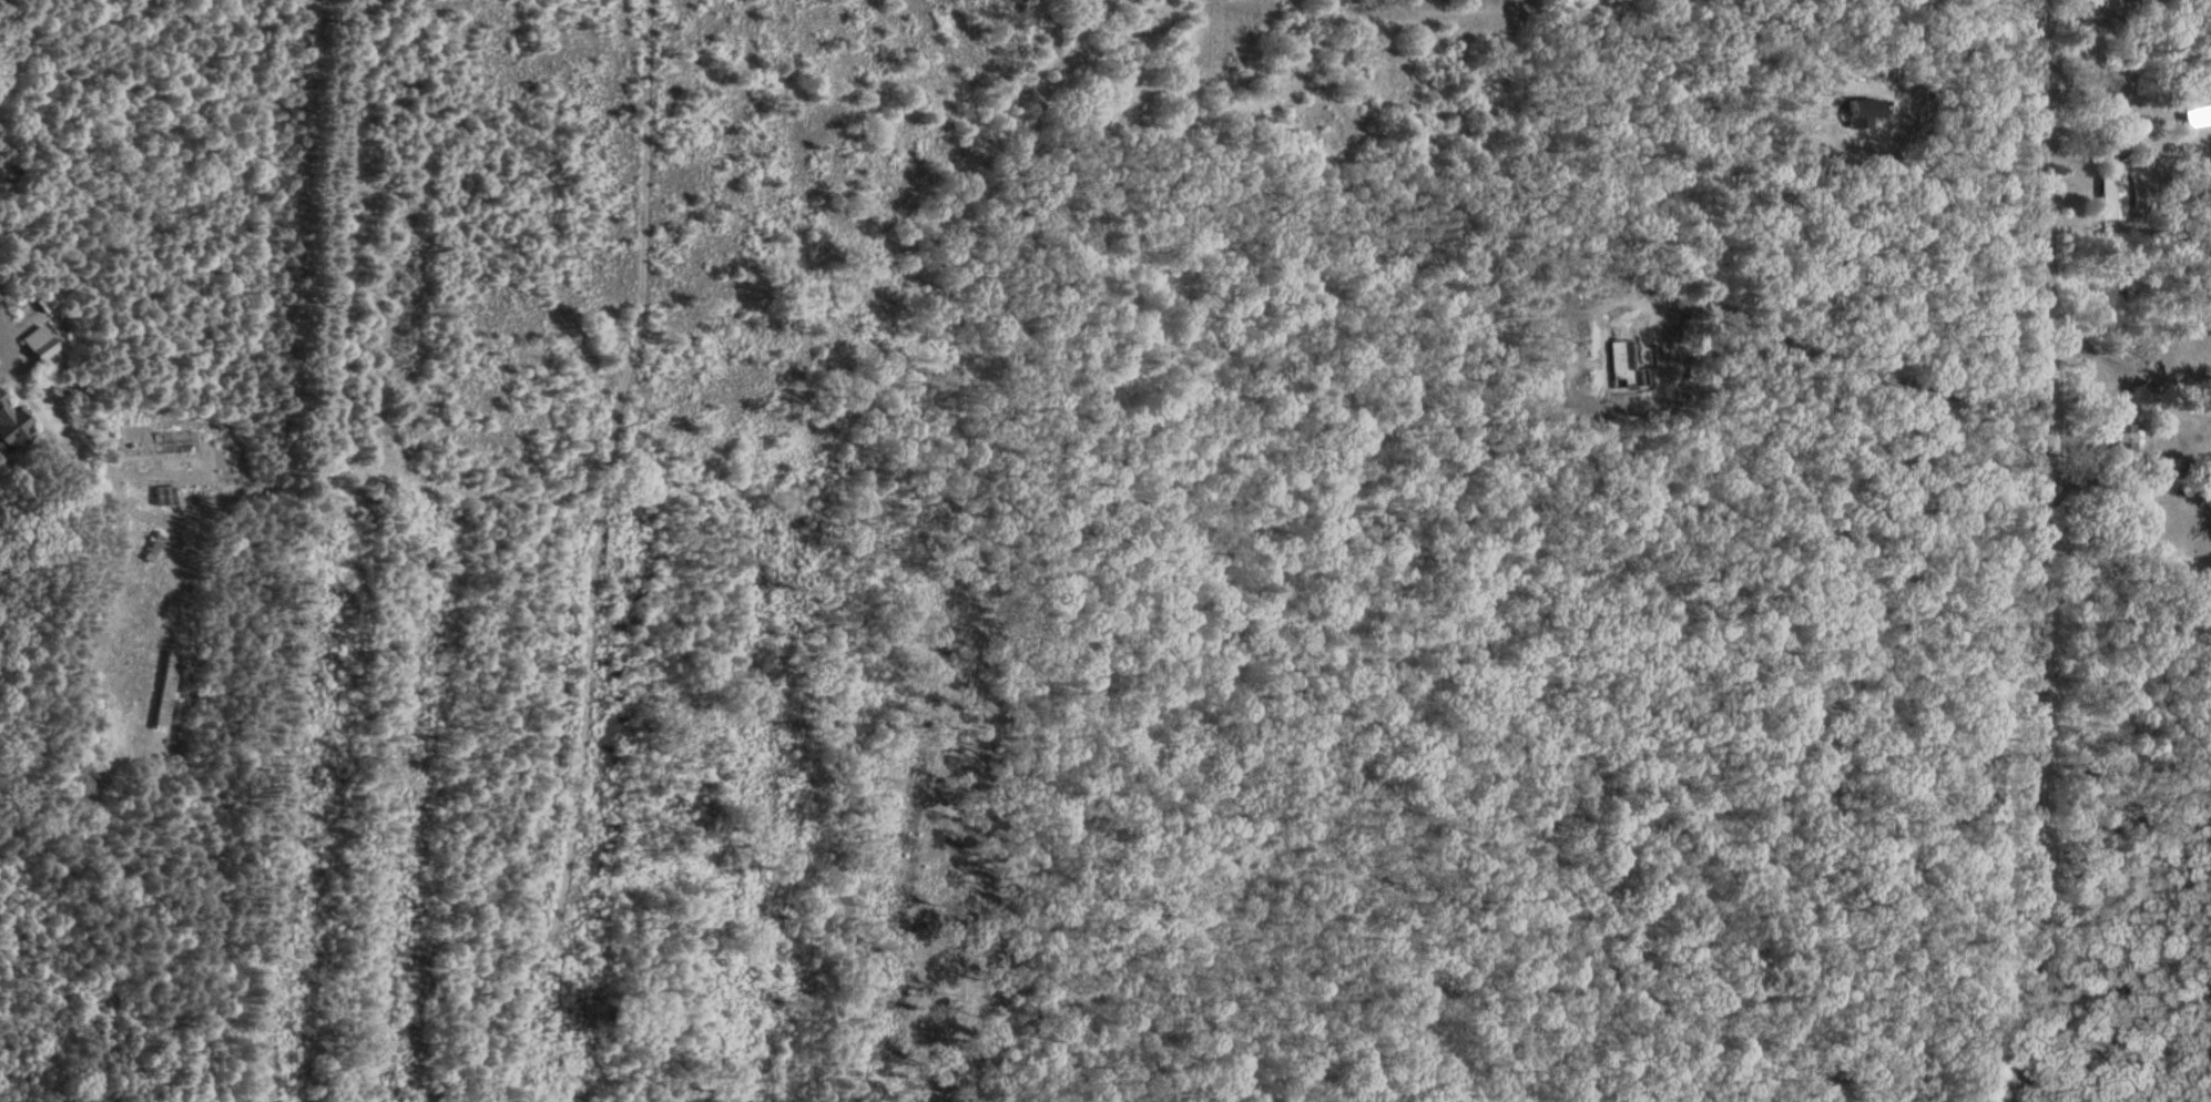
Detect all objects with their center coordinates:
road: (20, 38)
building: (2192, 105)
building: (2108, 196)
building: (38, 343)
road: (2127, 369)
building: (2204, 400)
building: (11, 426)
building: (2121, 438)
building: (132, 443)
building: (172, 446)
road: (2111, 473)
road: (2013, 551)
building: (161, 693)

